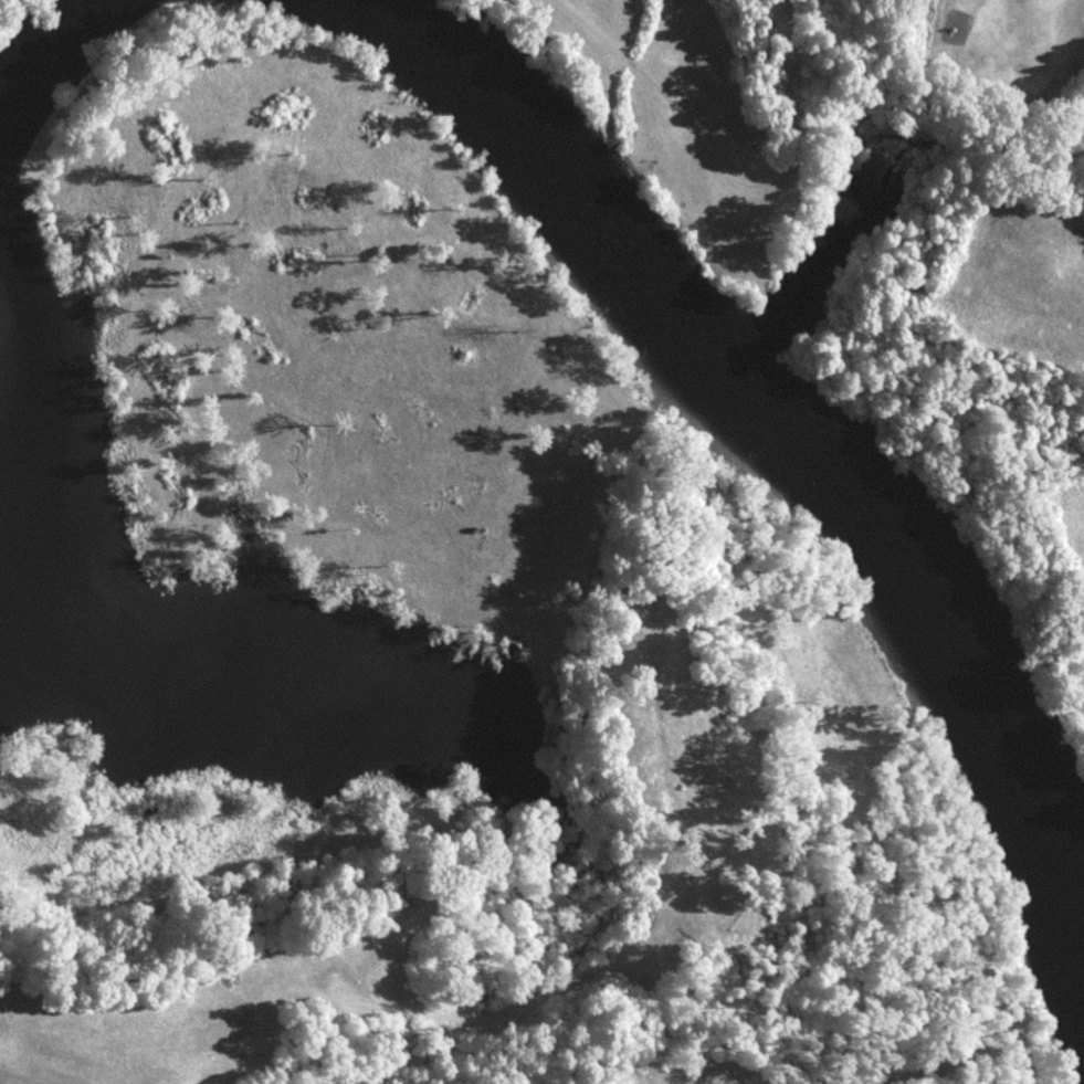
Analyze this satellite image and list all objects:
river: (65, 78)
river: (811, 440)

